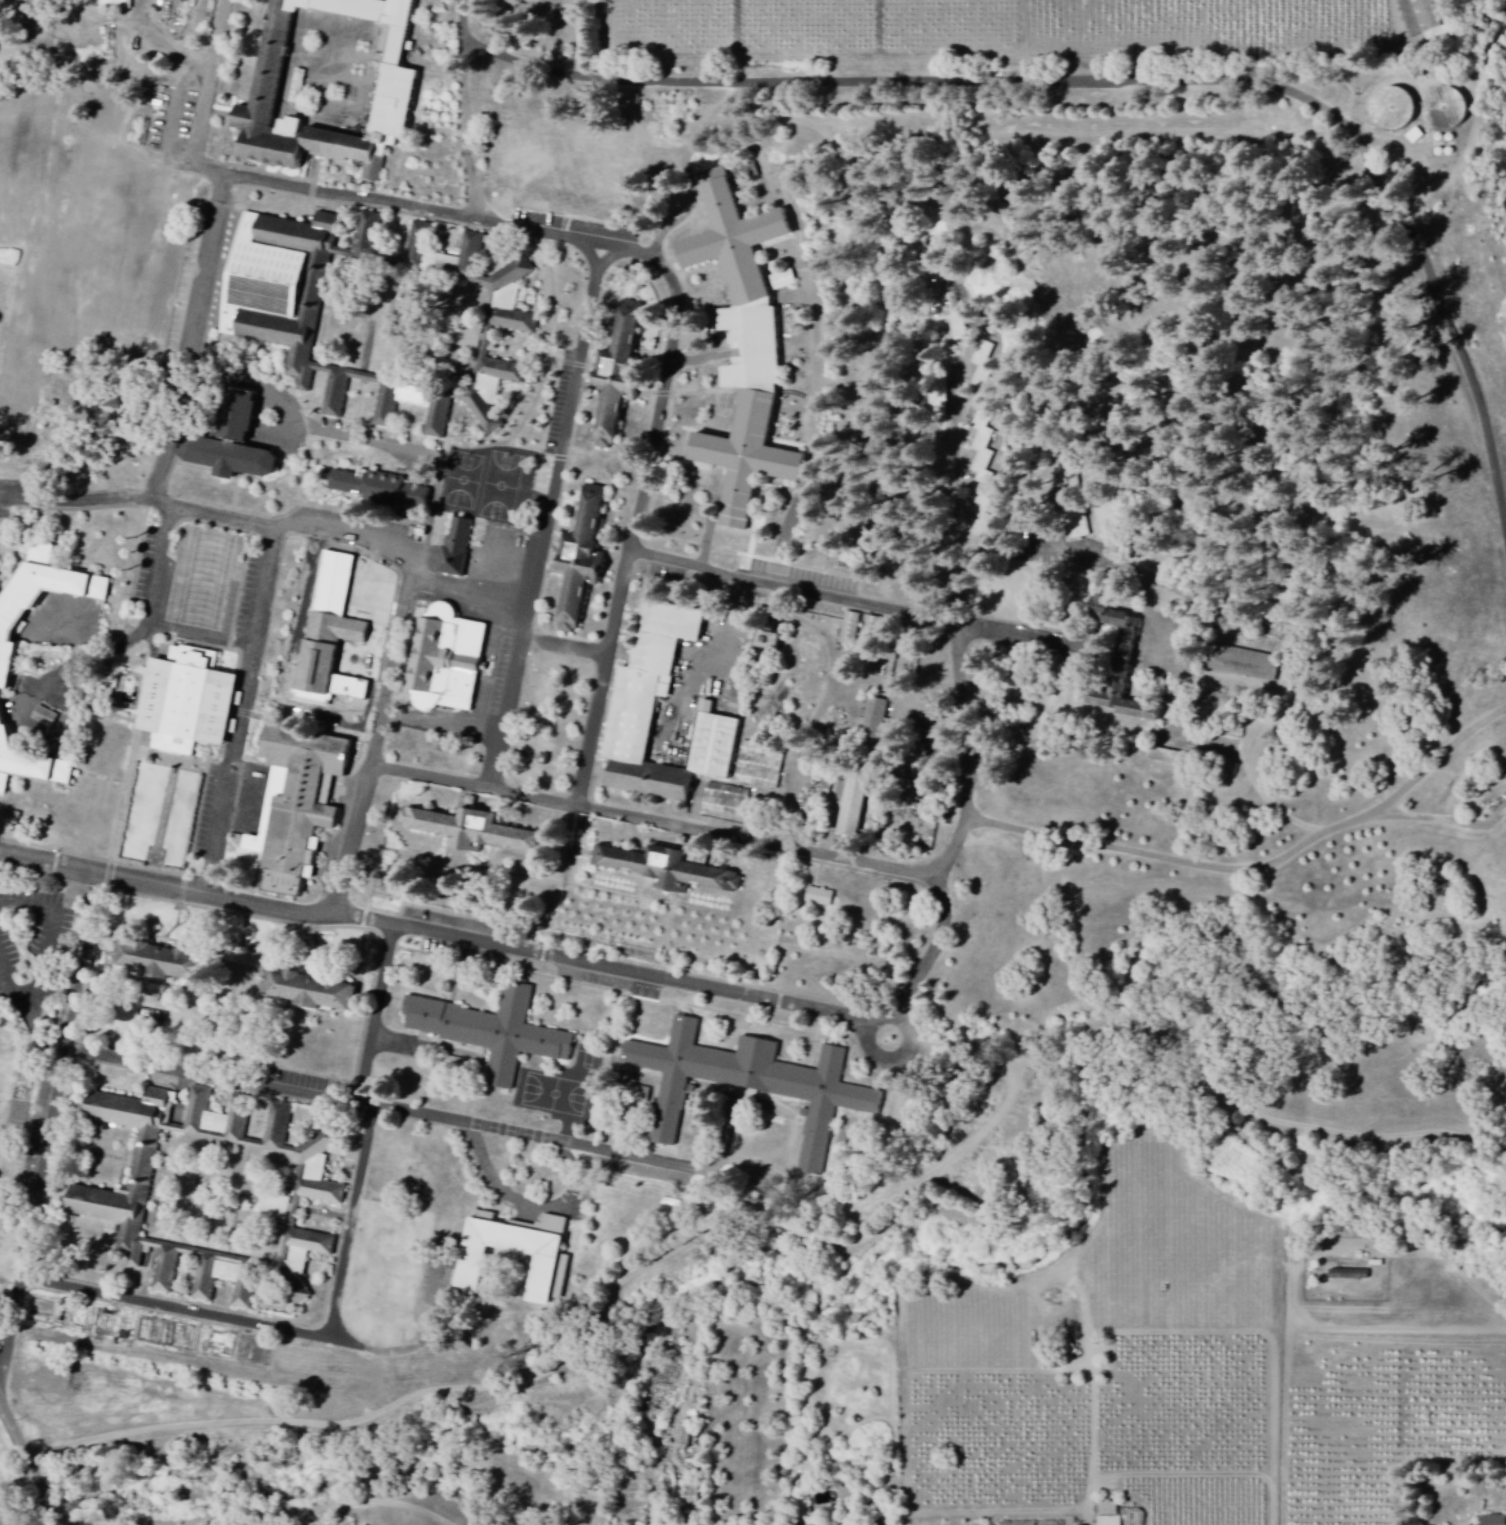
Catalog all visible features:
building: (114, 4)
park: (541, 18)
building: (1422, 19)
road: (112, 20)
road: (1207, 77)
road: (600, 81)
building: (399, 89)
road: (206, 97)
building: (1393, 107)
storage tank: (1393, 107)
building: (1445, 108)
storage tank: (1445, 108)
road: (468, 111)
building: (748, 171)
road: (441, 213)
building: (296, 236)
road: (25, 254)
building: (271, 280)
building: (945, 308)
building: (511, 323)
building: (269, 329)
building: (467, 337)
road: (193, 339)
building: (746, 347)
road: (1464, 350)
road: (697, 358)
building: (984, 363)
building: (622, 373)
building: (940, 400)
road: (308, 430)
building: (235, 446)
road: (605, 462)
road: (649, 471)
building: (983, 475)
road: (302, 480)
park: (463, 481)
park: (500, 487)
building: (380, 489)
road: (621, 489)
road: (78, 499)
building: (1073, 504)
road: (545, 519)
road: (431, 521)
building: (456, 549)
road: (1041, 552)
road: (394, 556)
building: (585, 560)
building: (204, 581)
road: (860, 604)
road: (153, 613)
building: (333, 635)
road: (203, 639)
building: (766, 641)
road: (1161, 641)
building: (1116, 657)
building: (447, 660)
building: (6, 668)
building: (653, 677)
road: (976, 693)
building: (190, 702)
road: (245, 714)
building: (46, 717)
building: (875, 719)
road: (315, 727)
road: (1073, 733)
road: (383, 748)
road: (130, 752)
road: (182, 763)
building: (759, 767)
road: (1430, 770)
building: (654, 780)
building: (726, 801)
building: (297, 805)
building: (852, 805)
road: (1433, 822)
road: (655, 823)
road: (164, 824)
building: (474, 832)
road: (1167, 861)
building: (669, 868)
road: (554, 882)
road: (563, 885)
building: (819, 898)
road: (454, 900)
road: (48, 938)
road: (454, 938)
building: (162, 962)
road: (7, 983)
building: (310, 990)
road: (25, 1001)
road: (377, 1016)
building: (496, 1032)
road: (608, 1061)
road: (902, 1066)
building: (754, 1084)
road: (319, 1098)
road: (580, 1111)
road: (52, 1141)
road: (674, 1165)
building: (109, 1198)
road: (523, 1207)
road: (352, 1224)
building: (517, 1251)
building: (1349, 1275)
road: (179, 1310)
road: (416, 1350)
road: (542, 1381)
crop: (4, 1459)
road: (27, 1465)
building: (692, 1495)
building: (1109, 1514)
building: (1494, 1521)
building: (323, 1524)
building: (879, 1524)

